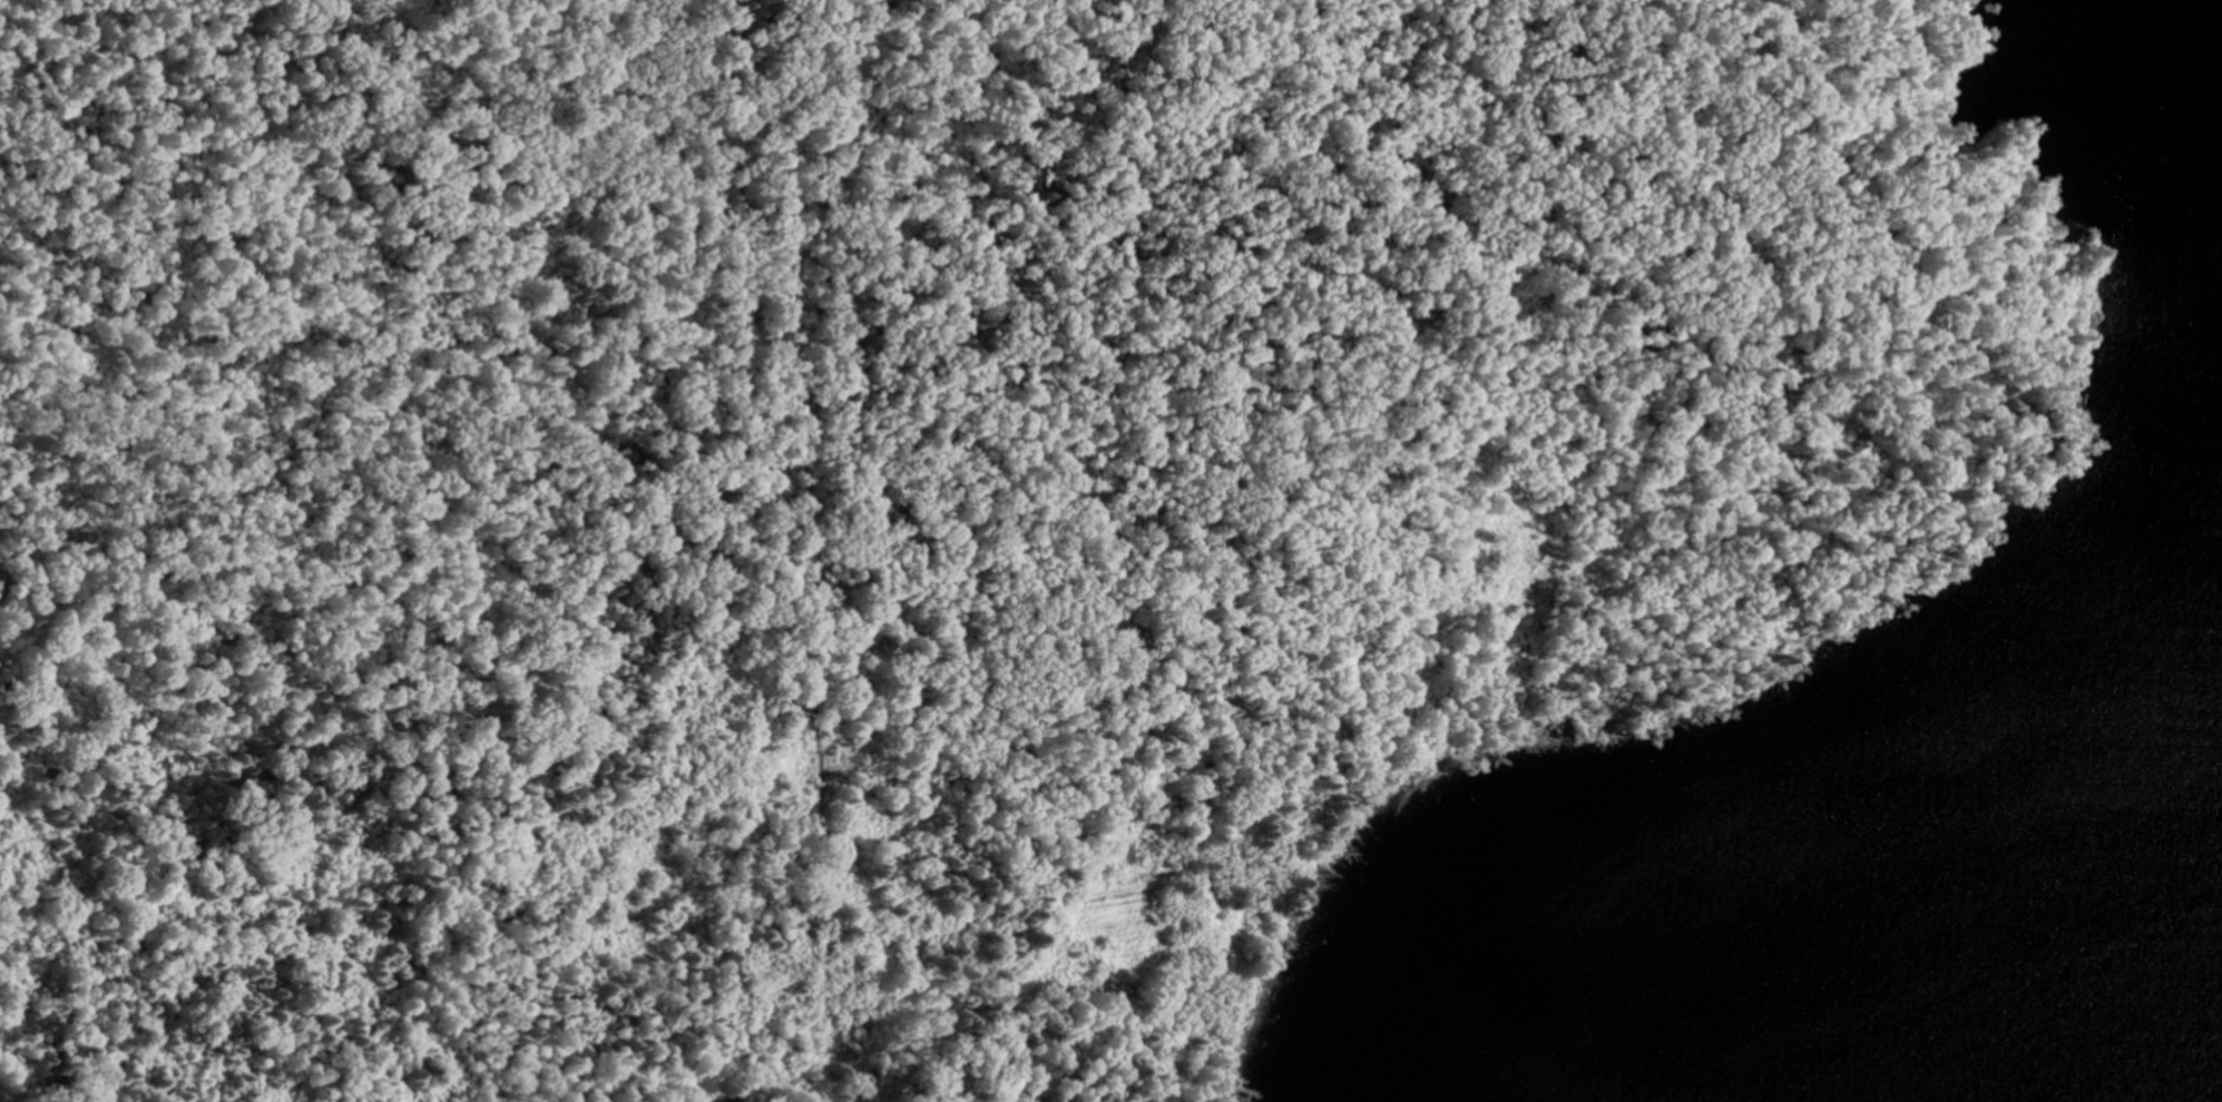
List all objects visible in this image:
road: (811, 548)
road: (411, 898)

